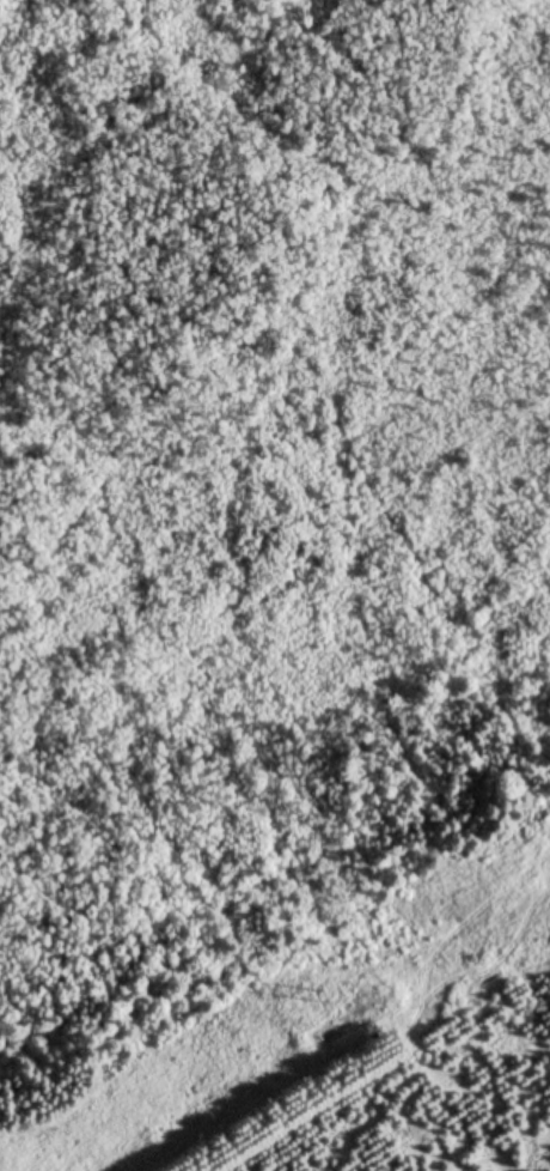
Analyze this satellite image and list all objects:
power tower: (318, 997)

